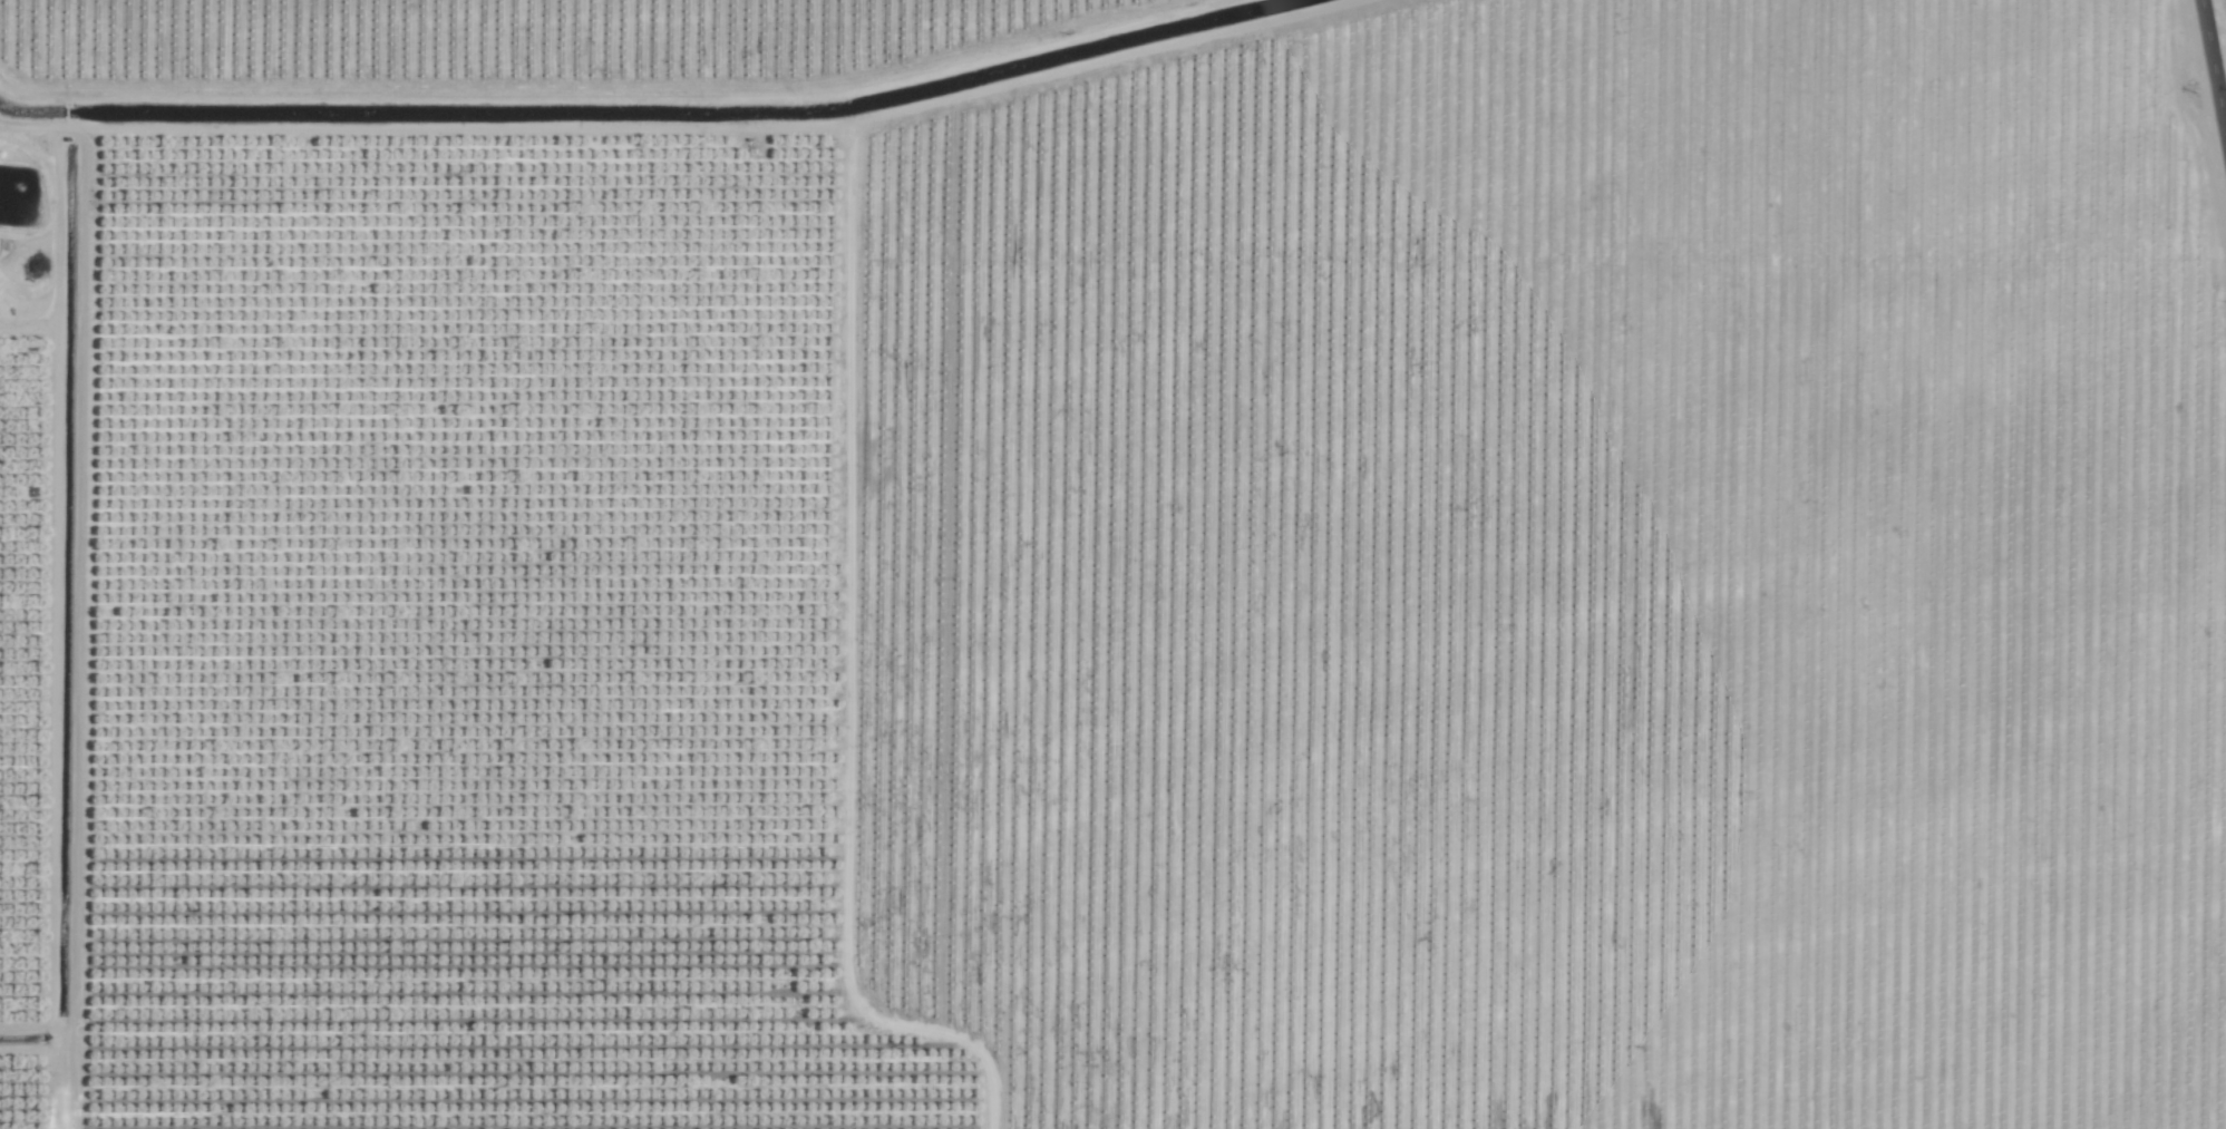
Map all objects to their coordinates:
road: (2213, 68)

